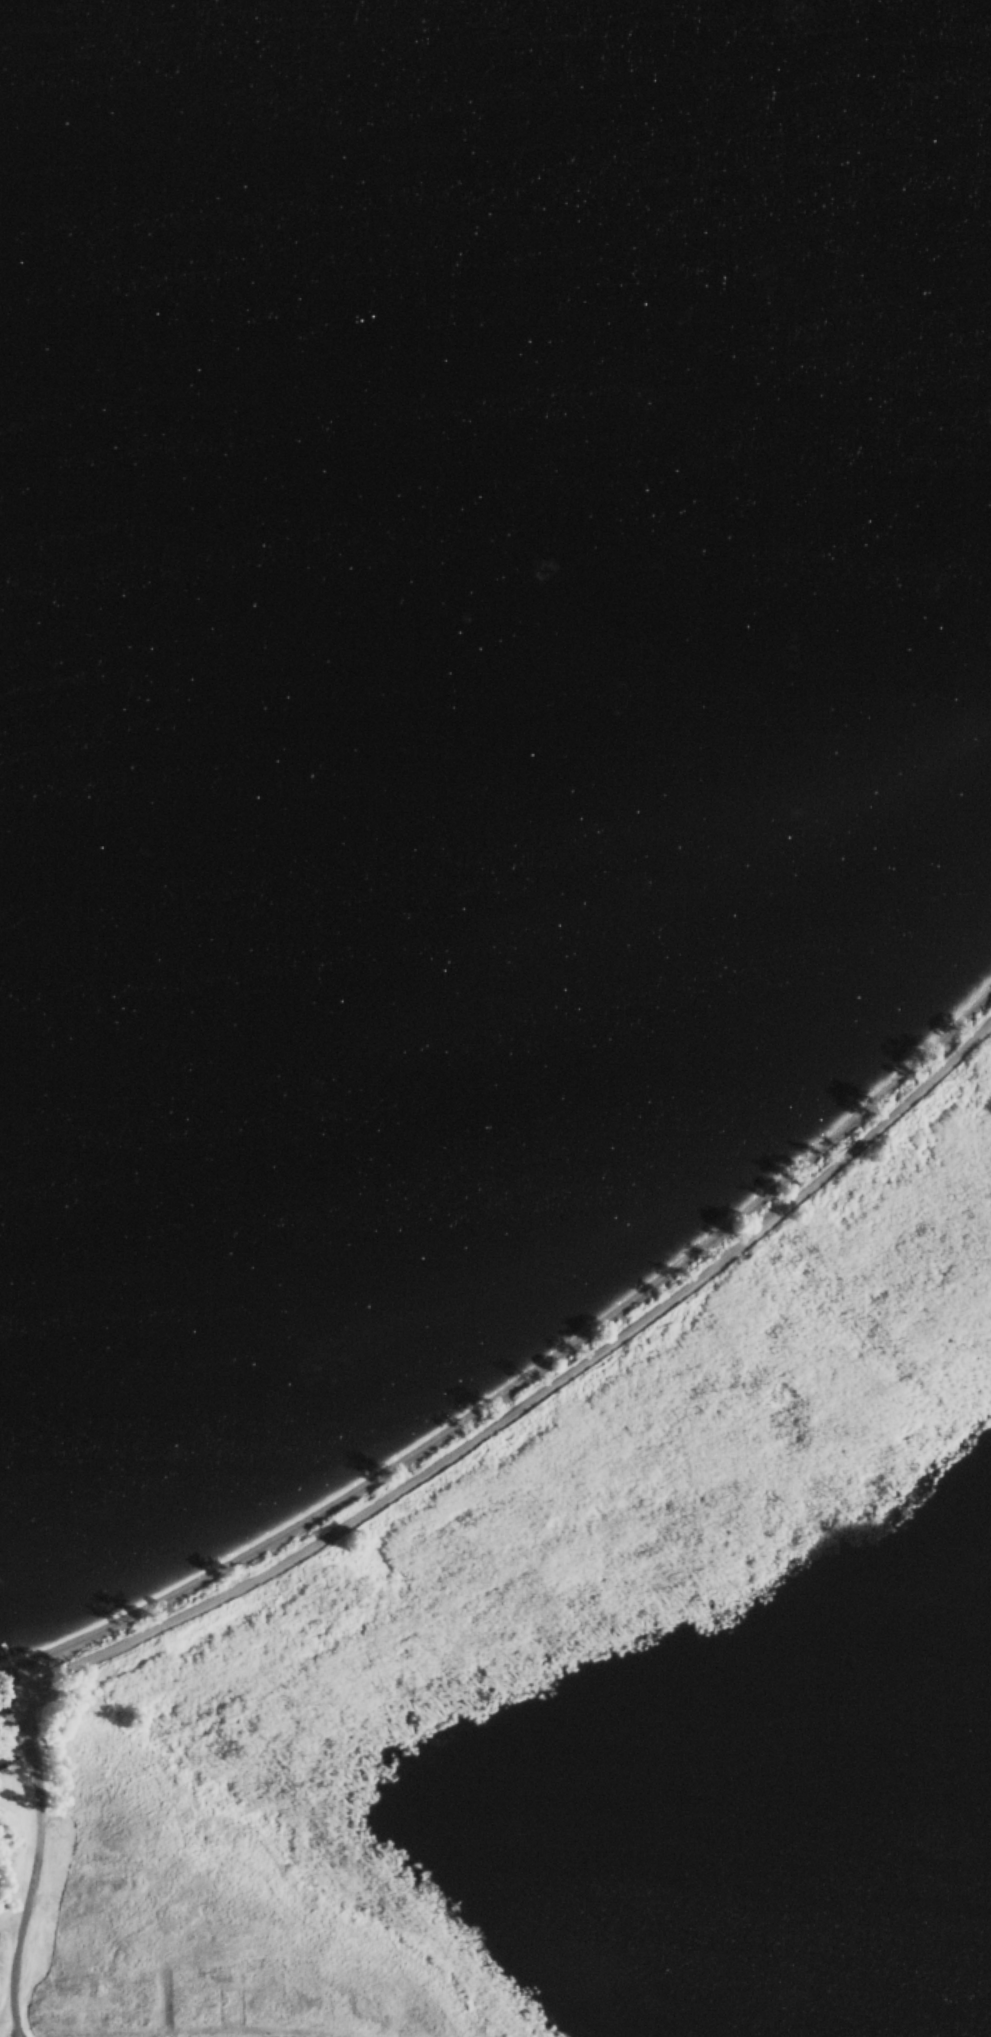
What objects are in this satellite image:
road: (521, 1406)
road: (43, 1862)

